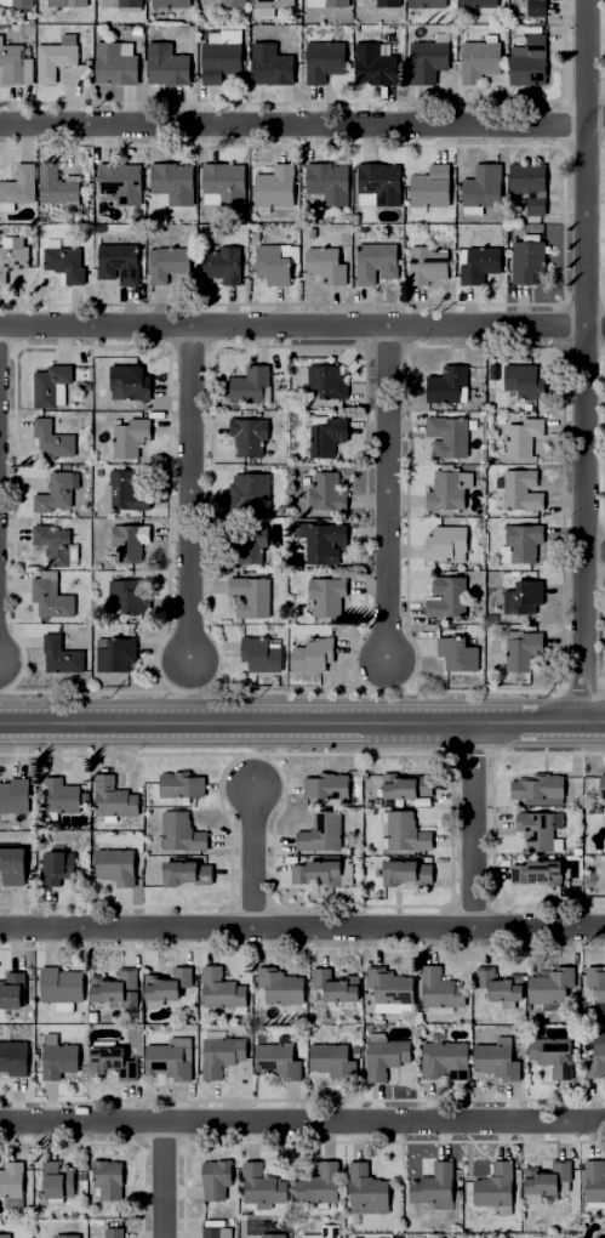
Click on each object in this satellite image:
building: (23, 2)
building: (76, 2)
building: (224, 2)
building: (329, 2)
building: (388, 2)
building: (429, 2)
building: (125, 5)
building: (167, 5)
building: (272, 6)
building: (538, 7)
building: (483, 8)
building: (224, 57)
building: (429, 57)
building: (481, 57)
building: (325, 58)
building: (56, 59)
building: (531, 59)
building: (16, 62)
building: (116, 62)
building: (272, 63)
building: (169, 64)
building: (376, 64)
road: (594, 118)
road: (293, 127)
building: (122, 181)
building: (173, 182)
building: (224, 182)
building: (329, 183)
building: (19, 184)
building: (56, 184)
building: (379, 184)
building: (430, 184)
building: (484, 184)
building: (530, 184)
building: (275, 187)
building: (12, 256)
building: (530, 259)
building: (120, 260)
building: (65, 261)
building: (222, 262)
building: (377, 262)
building: (169, 263)
building: (275, 263)
building: (481, 263)
building: (326, 265)
building: (429, 265)
road: (302, 328)
road: (581, 359)
building: (329, 380)
building: (526, 380)
building: (130, 381)
building: (51, 385)
building: (251, 385)
building: (456, 387)
building: (327, 435)
building: (131, 436)
building: (450, 436)
building: (247, 437)
building: (524, 437)
building: (53, 439)
building: (250, 490)
building: (520, 490)
building: (327, 492)
building: (445, 492)
building: (57, 493)
building: (125, 493)
road: (188, 496)
road: (381, 498)
building: (131, 541)
building: (250, 541)
building: (323, 541)
building: (526, 541)
building: (453, 543)
building: (55, 544)
road: (594, 555)
building: (130, 595)
building: (327, 595)
building: (253, 596)
building: (51, 597)
building: (449, 597)
building: (525, 597)
building: (525, 651)
building: (262, 653)
building: (116, 654)
building: (314, 654)
building: (458, 654)
building: (61, 655)
road: (302, 719)
building: (183, 785)
building: (327, 786)
building: (411, 789)
building: (542, 789)
building: (604, 789)
building: (15, 796)
building: (61, 797)
building: (114, 799)
road: (469, 823)
building: (537, 830)
building: (409, 833)
building: (182, 834)
building: (321, 834)
road: (250, 854)
building: (13, 867)
building: (57, 867)
building: (115, 867)
building: (326, 873)
building: (188, 874)
building: (299, 874)
building: (343, 874)
building: (409, 874)
building: (537, 874)
road: (302, 928)
building: (597, 983)
building: (169, 984)
building: (281, 986)
building: (337, 986)
building: (392, 986)
building: (502, 987)
building: (62, 988)
building: (553, 988)
building: (222, 989)
building: (441, 989)
building: (119, 992)
building: (12, 994)
building: (598, 1009)
building: (221, 1054)
building: (553, 1055)
building: (386, 1056)
building: (107, 1057)
building: (13, 1058)
building: (58, 1058)
building: (443, 1058)
building: (597, 1058)
building: (278, 1060)
building: (500, 1060)
building: (170, 1061)
building: (333, 1061)
road: (302, 1124)
building: (108, 1179)
building: (549, 1179)
road: (161, 1181)
building: (217, 1181)
building: (12, 1182)
building: (57, 1182)
building: (595, 1182)
building: (320, 1186)
building: (263, 1187)
building: (436, 1188)
building: (498, 1188)
building: (367, 1192)
building: (114, 1232)
building: (324, 1232)
building: (218, 1233)
building: (12, 1236)
building: (68, 1236)
building: (273, 1236)
building: (382, 1236)
building: (450, 1236)
building: (598, 1237)

